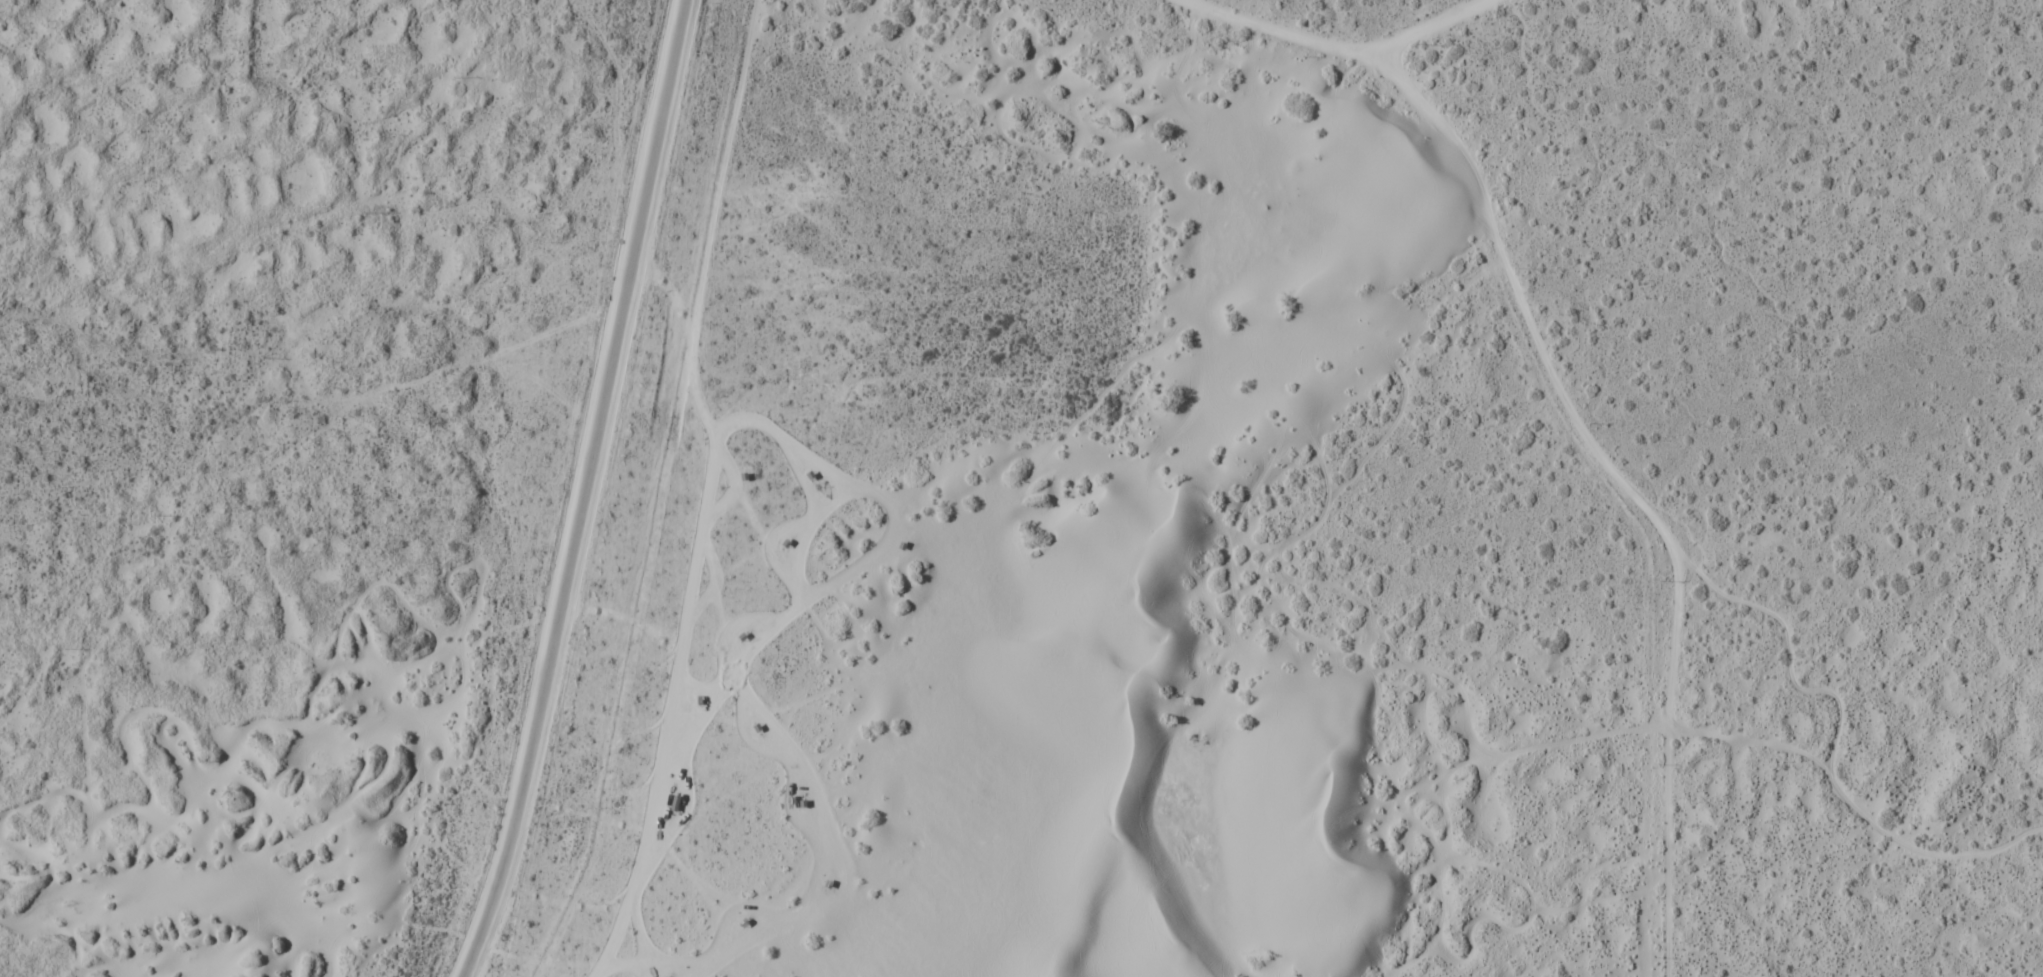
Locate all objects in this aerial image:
road: (1413, 31)
road: (1569, 410)
road: (584, 491)
building: (673, 802)

